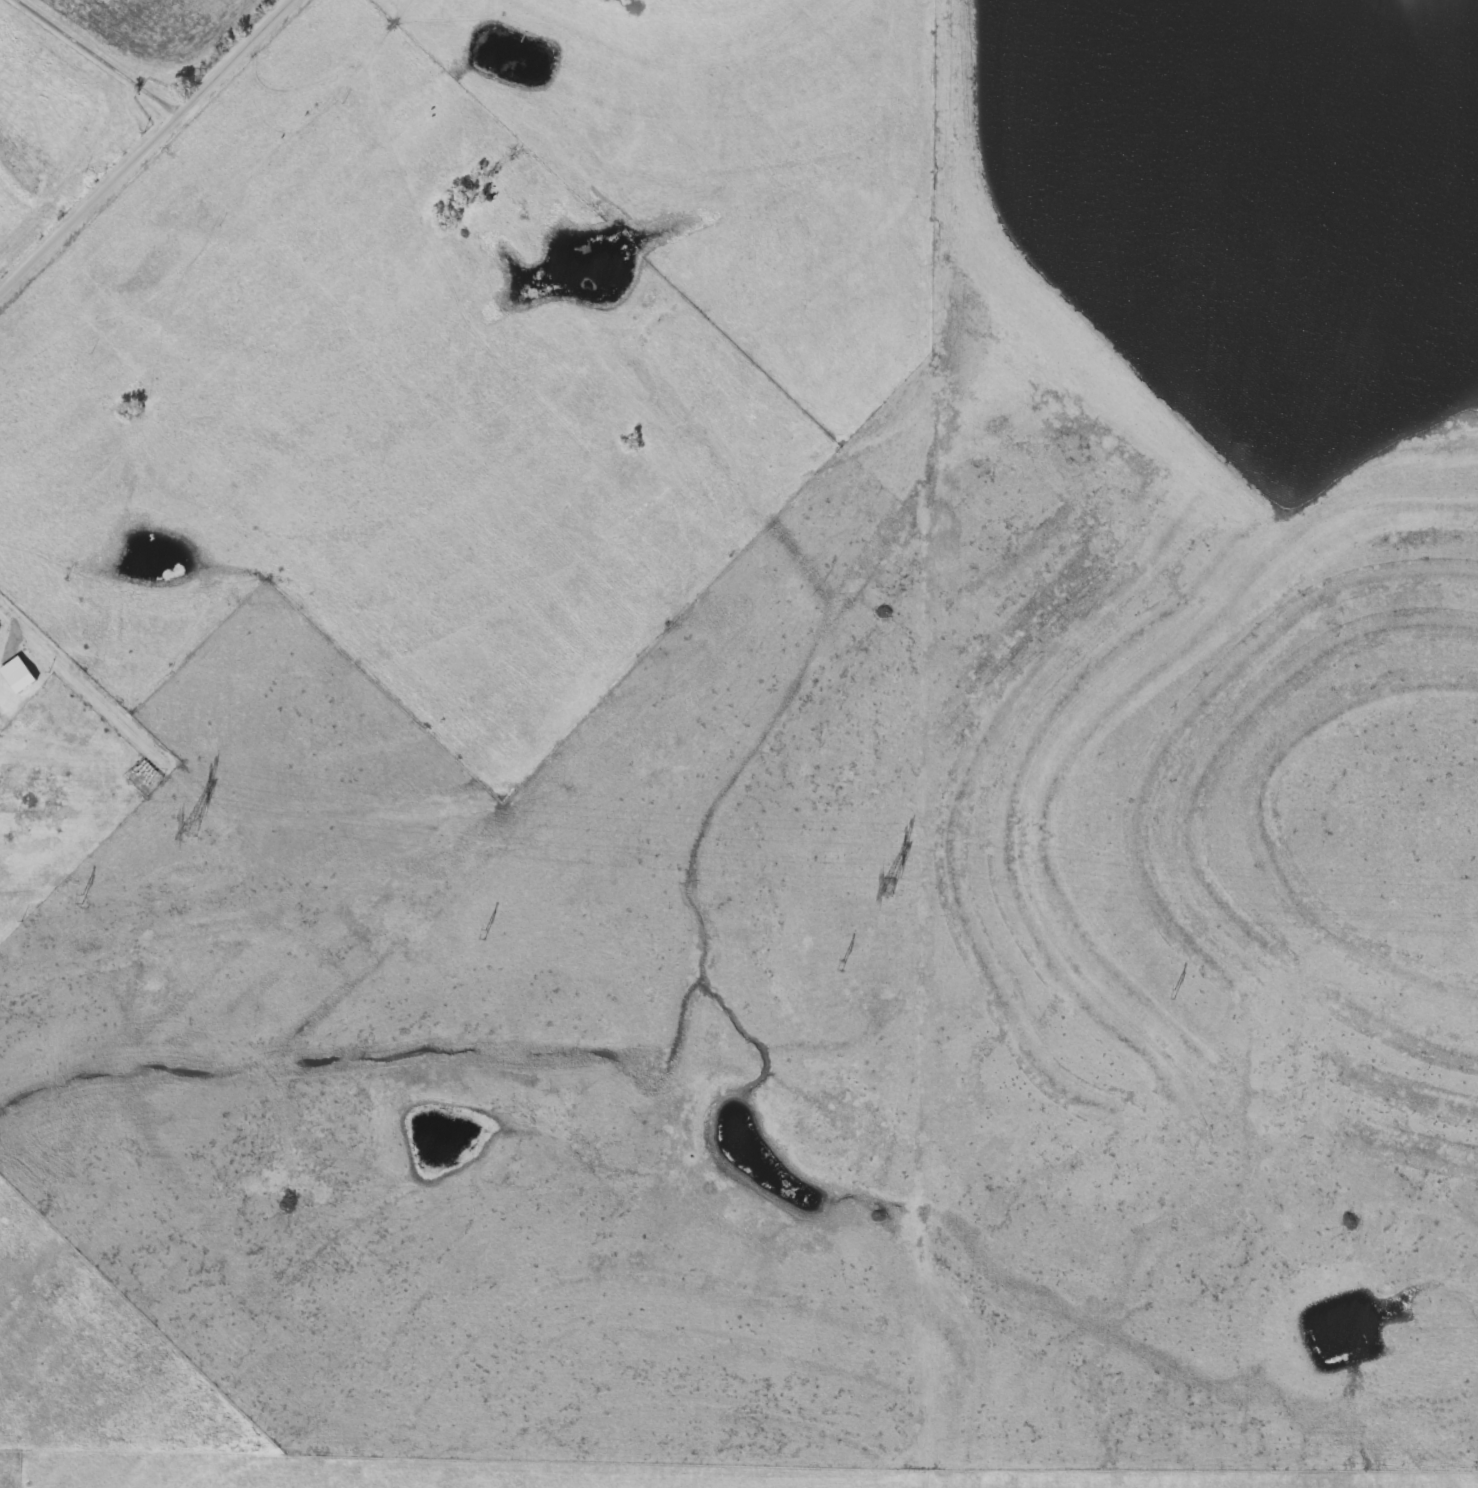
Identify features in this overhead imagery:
road: (100, 56)
road: (145, 146)
road: (27, 633)
building: (143, 771)
power tower: (194, 827)
power tower: (887, 887)

